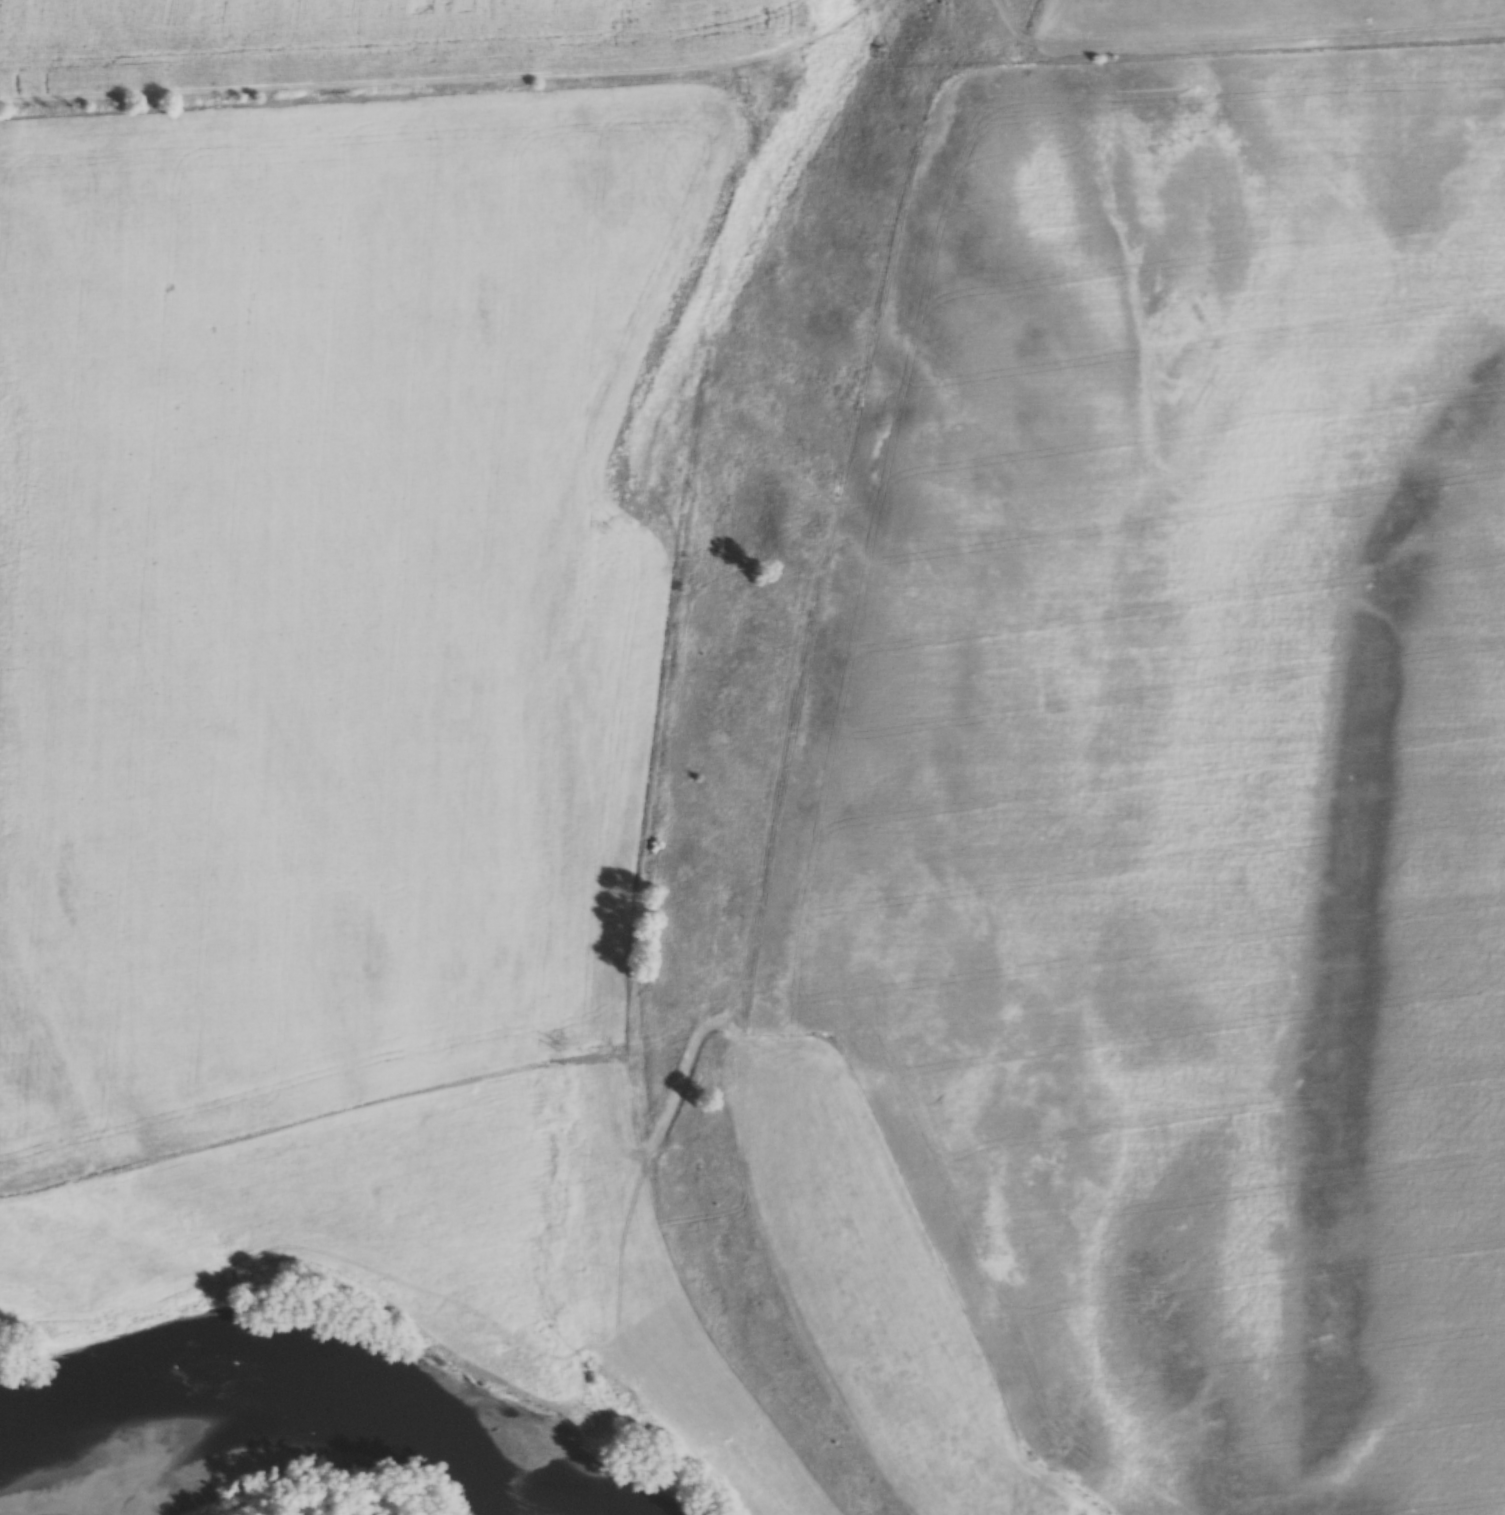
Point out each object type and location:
river: (300, 1395)

